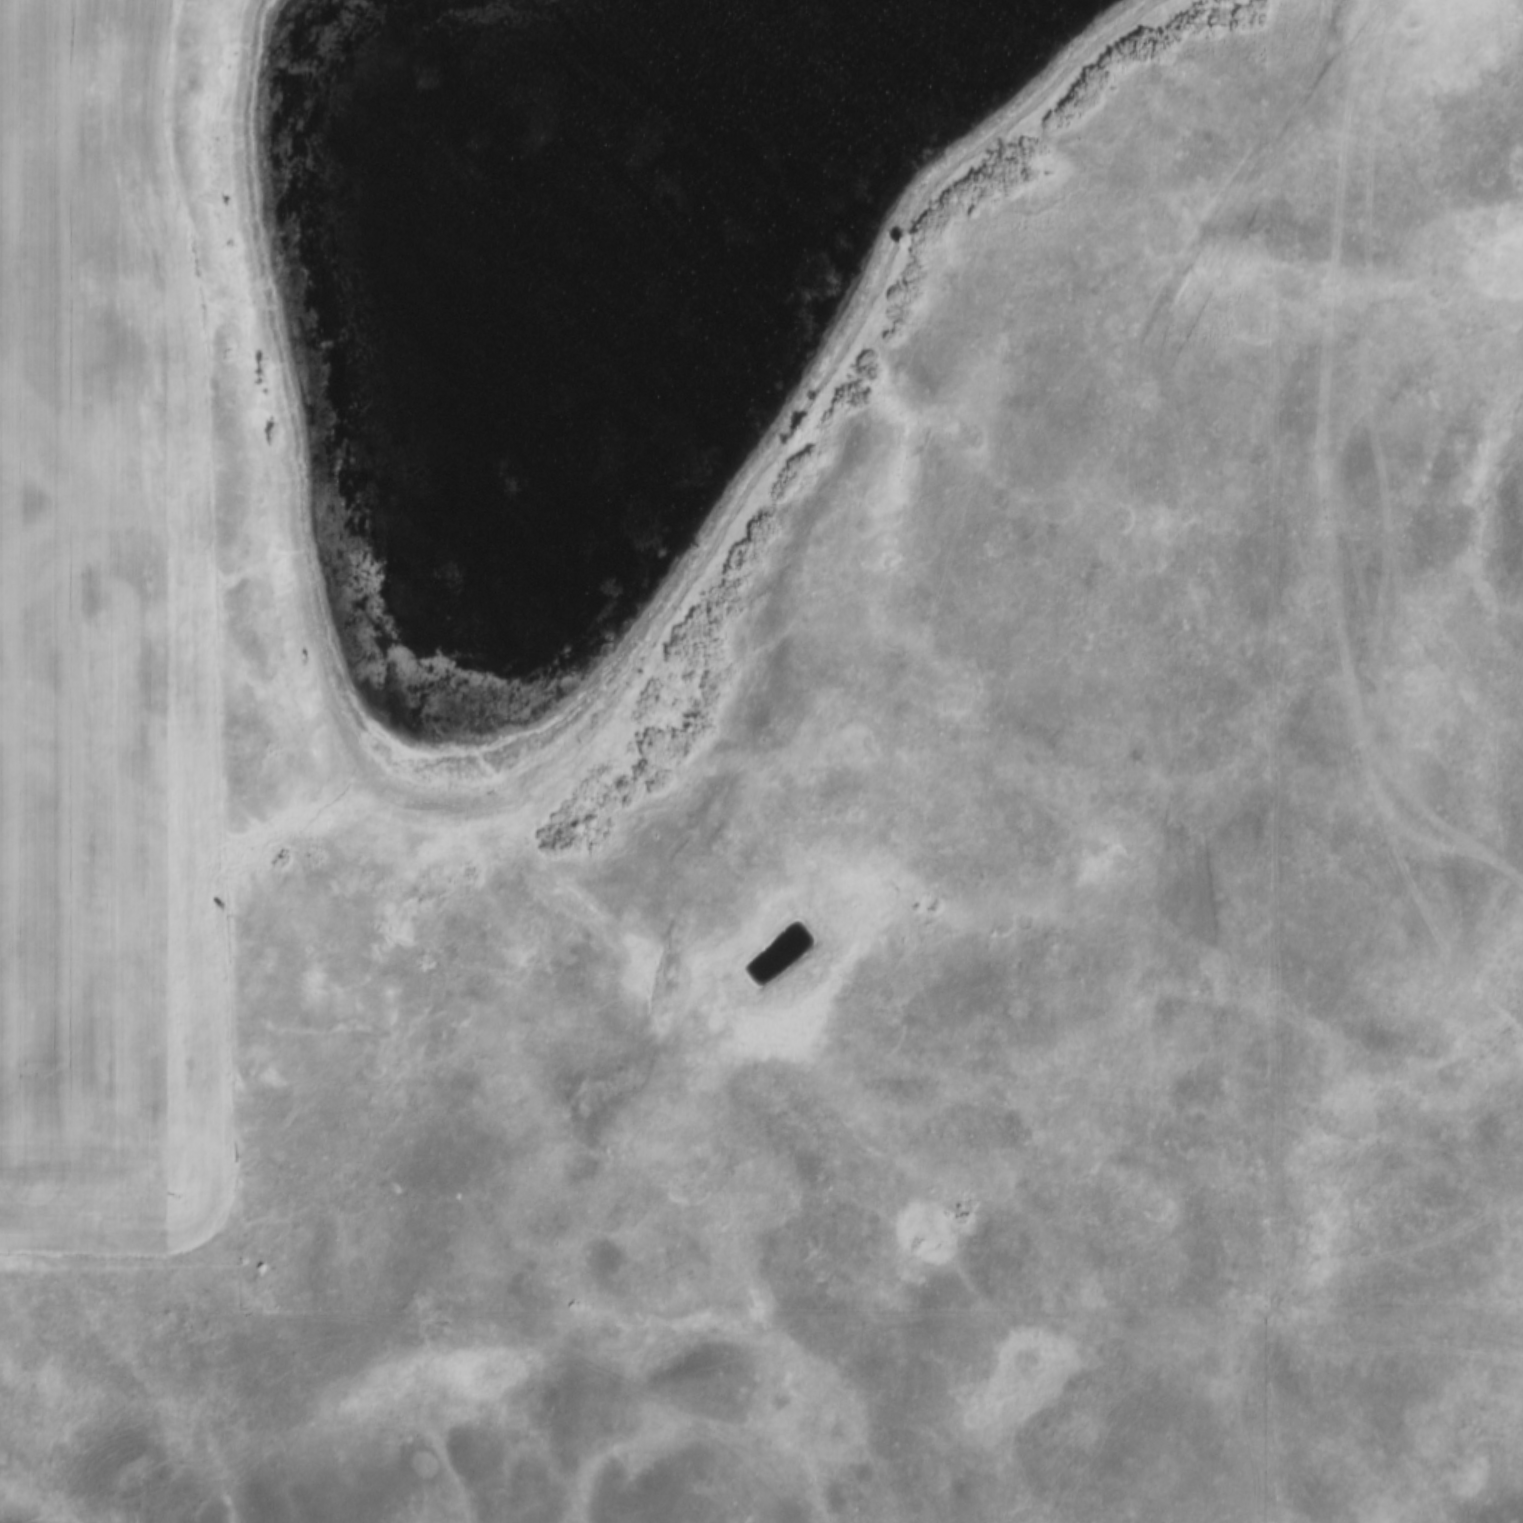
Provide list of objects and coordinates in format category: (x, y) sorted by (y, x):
road: (1276, 750)
road: (1399, 1297)

